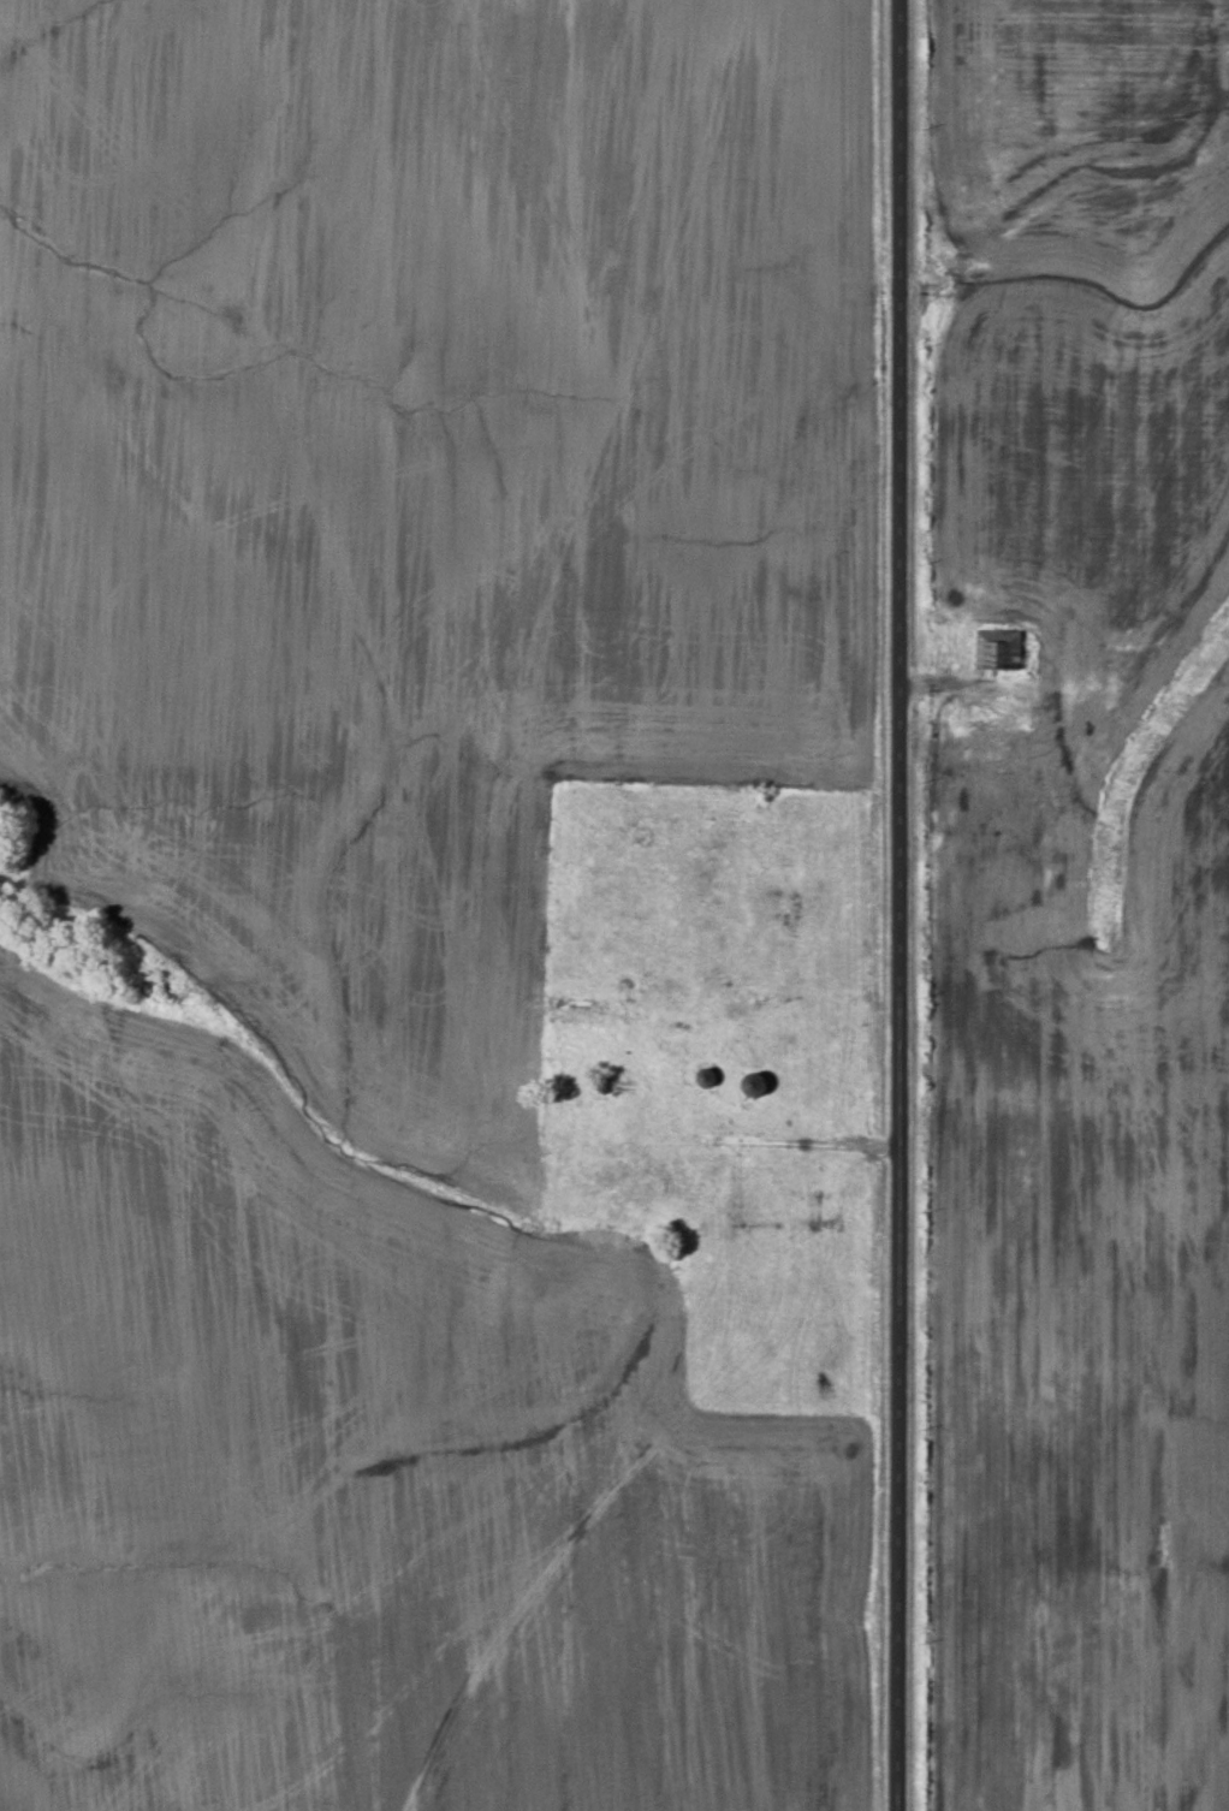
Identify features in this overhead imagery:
building: (997, 652)
building: (1103, 683)
road: (893, 905)
building: (750, 1085)

